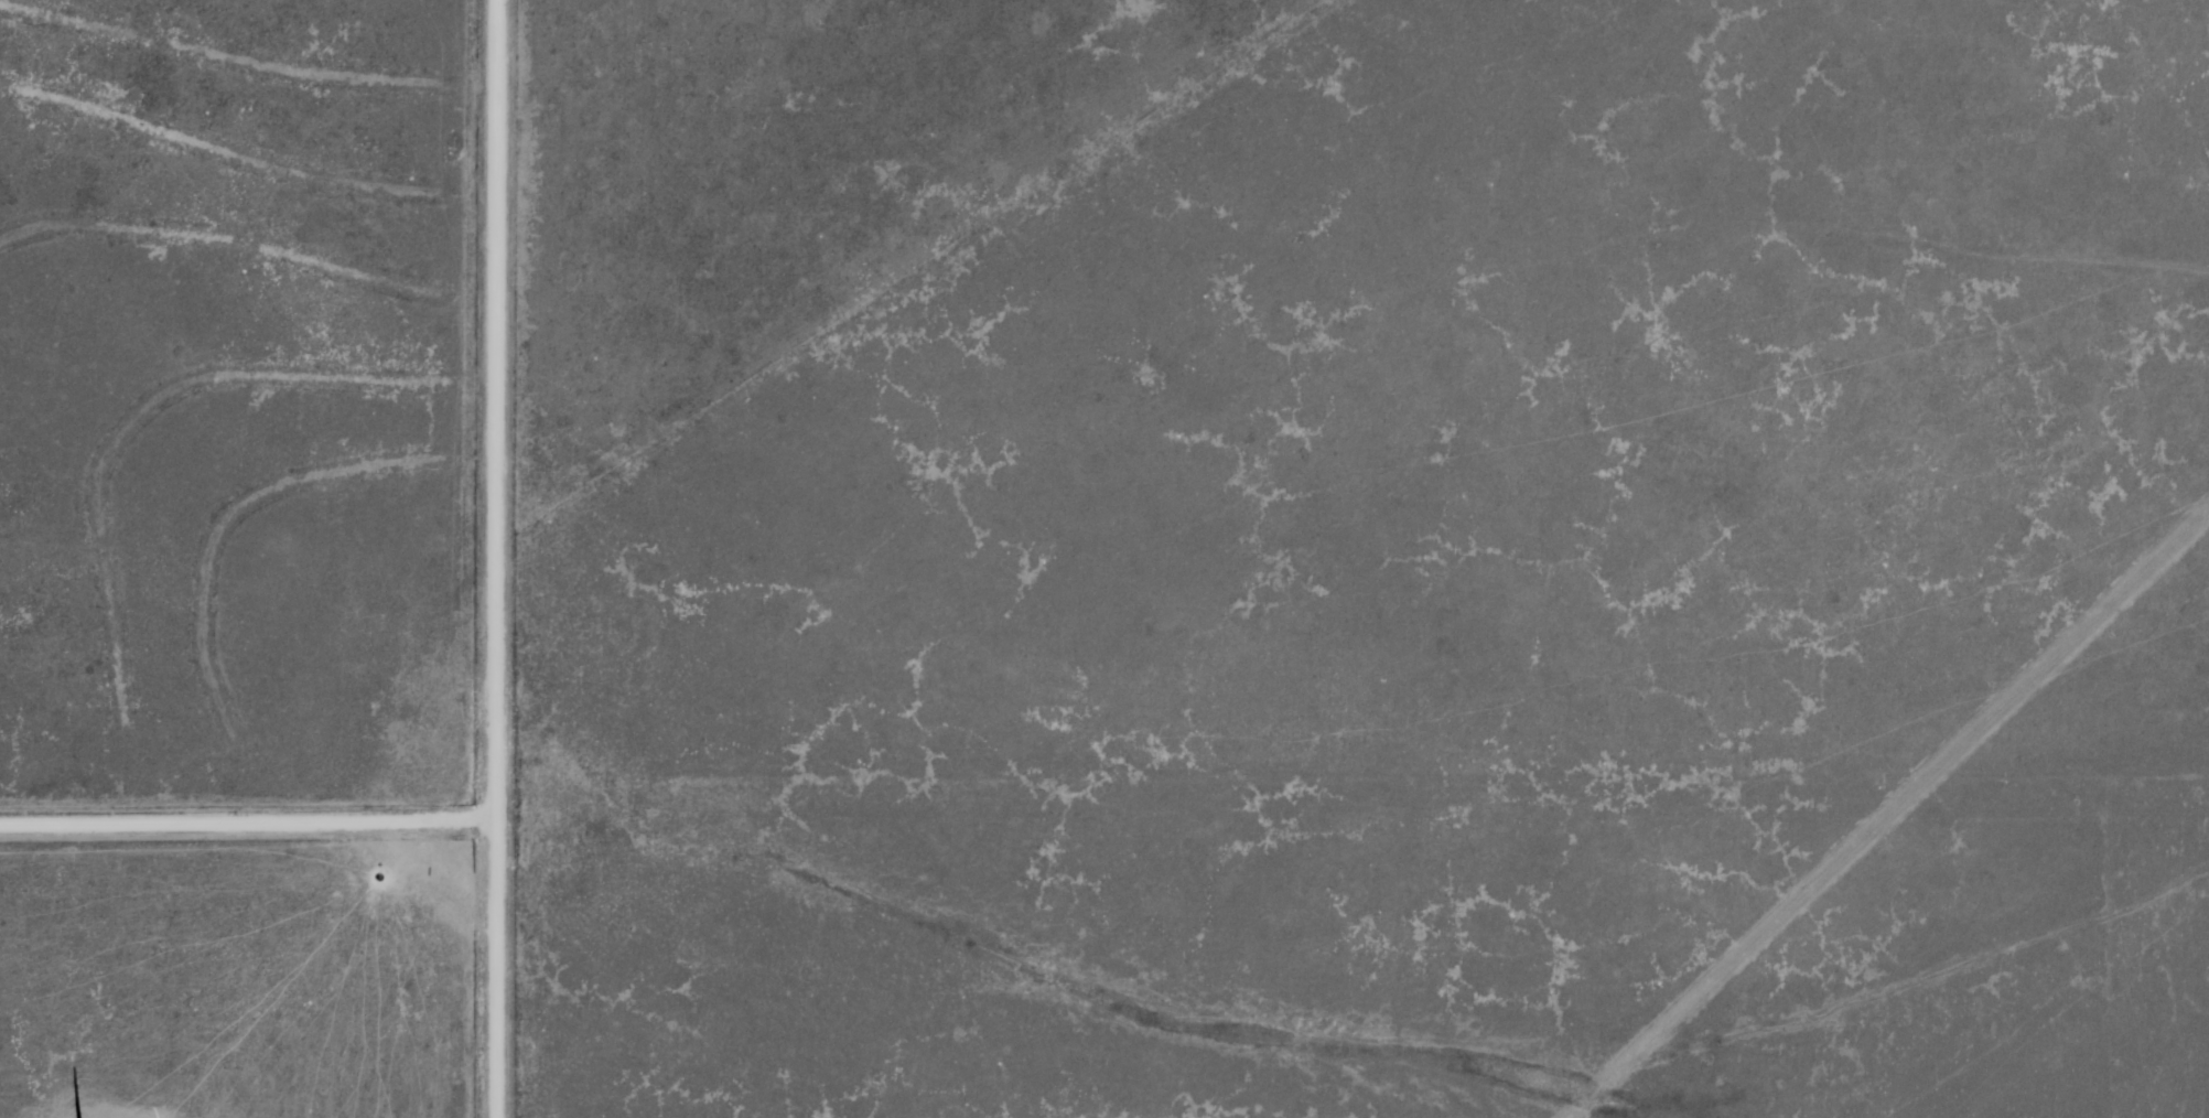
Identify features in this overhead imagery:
road: (495, 559)
road: (248, 828)

